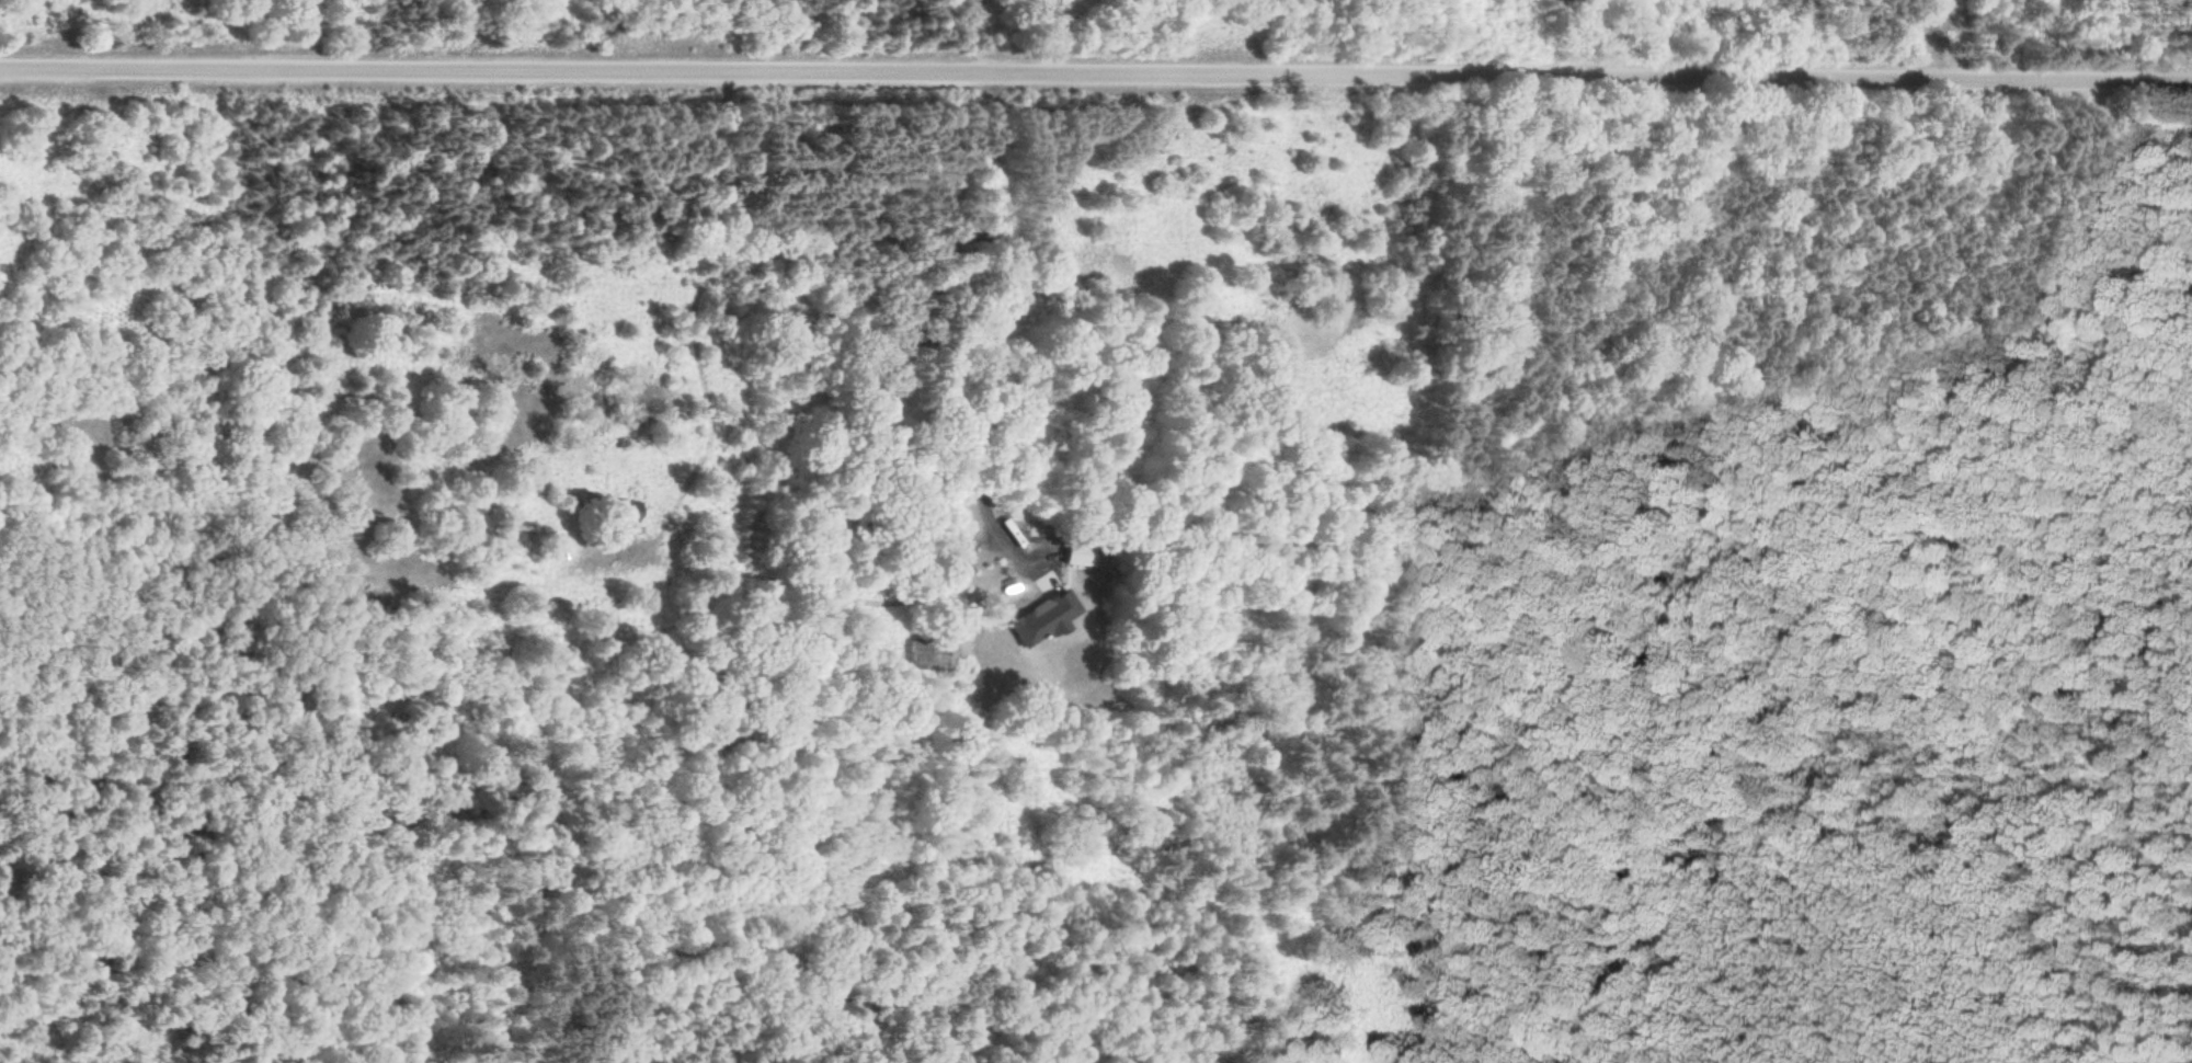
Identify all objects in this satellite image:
road: (1096, 71)
building: (1031, 628)

